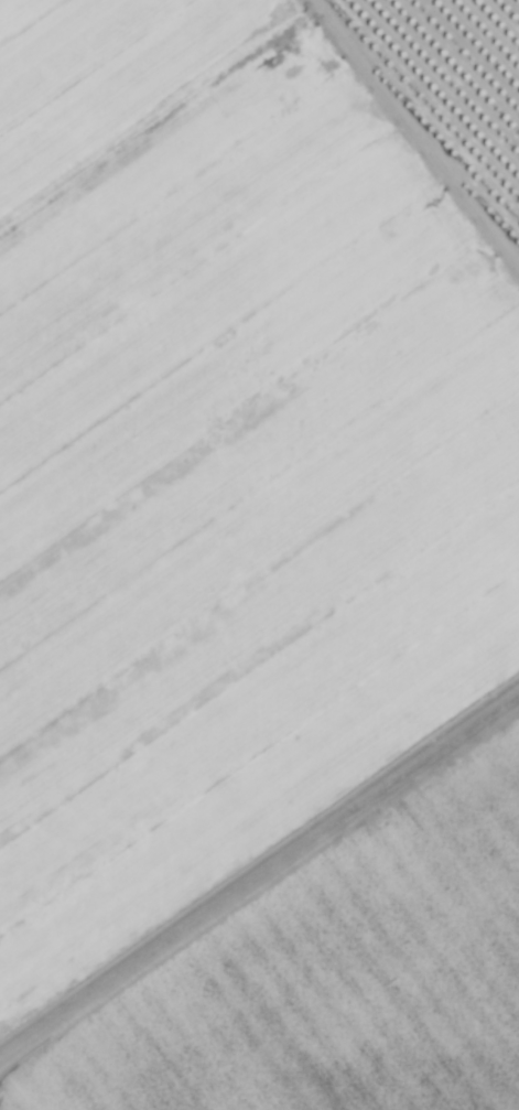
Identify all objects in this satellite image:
road: (406, 147)
crop: (259, 554)
road: (259, 873)

